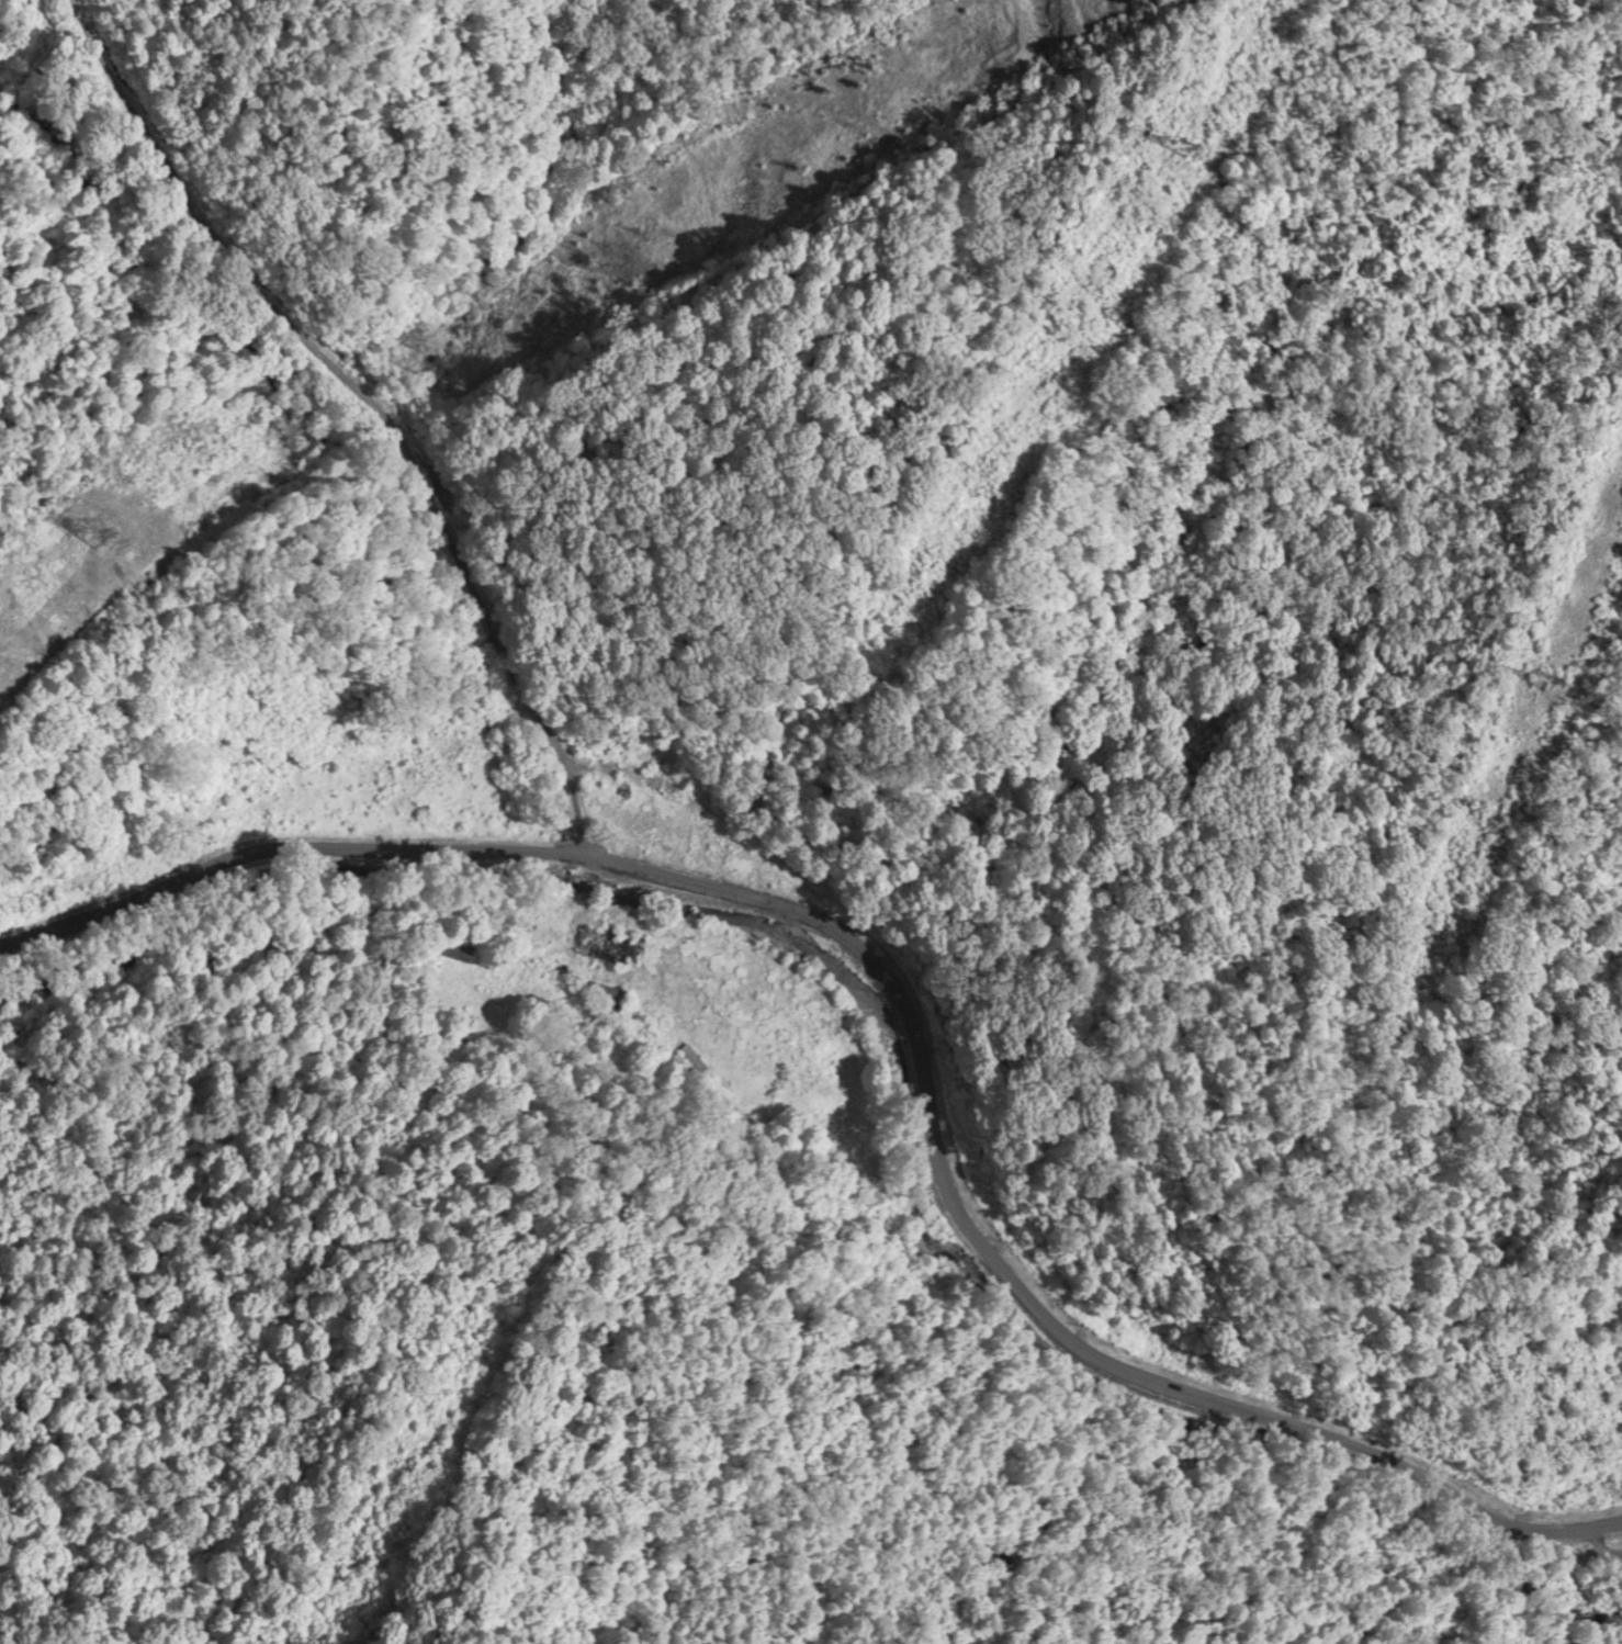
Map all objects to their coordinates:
power tower: (113, 499)
power tower: (1546, 677)
building: (446, 734)
building: (673, 772)
building: (657, 801)
building: (612, 942)
road: (908, 1009)

